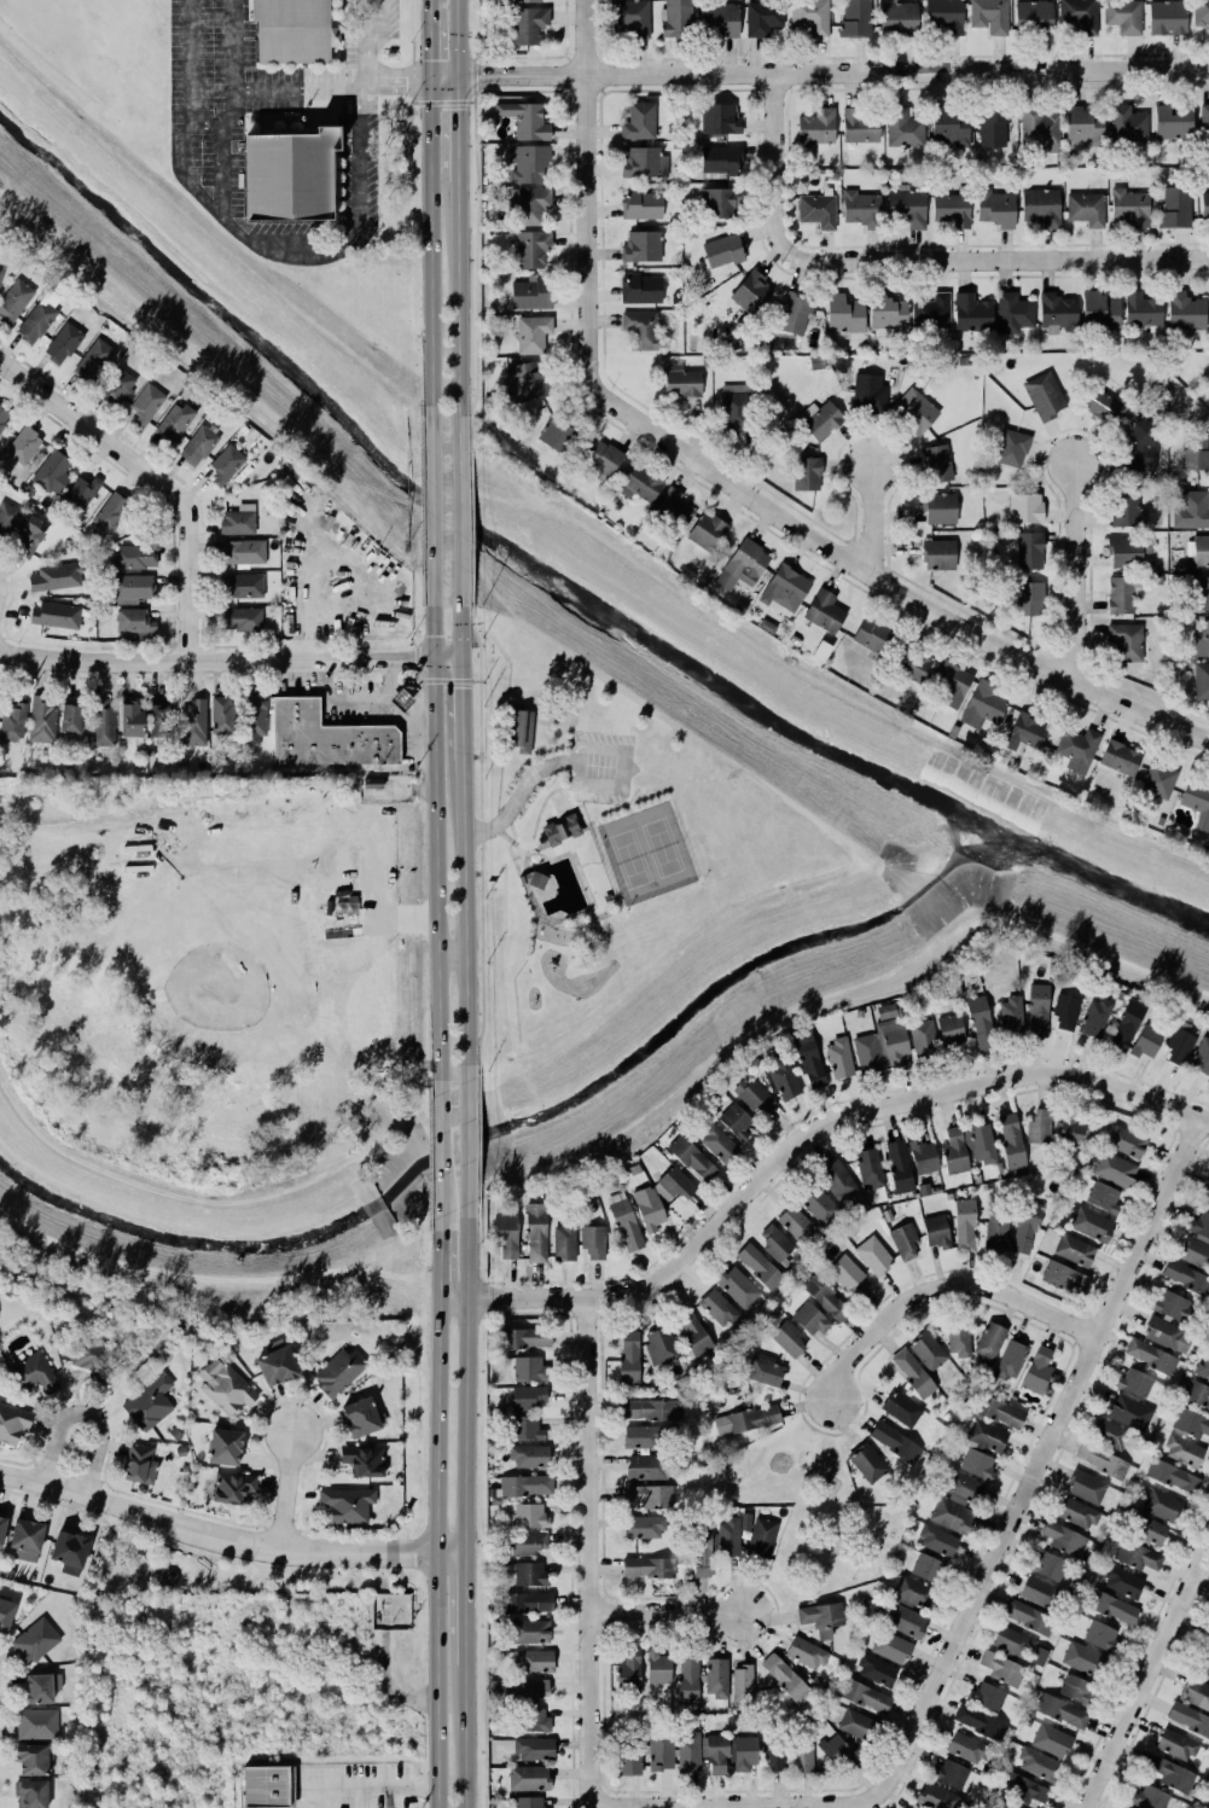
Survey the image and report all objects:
road: (429, 1)
building: (527, 1)
building: (1201, 13)
building: (944, 16)
building: (989, 16)
building: (1079, 16)
building: (1123, 16)
building: (633, 17)
building: (810, 17)
building: (1033, 17)
building: (676, 18)
building: (763, 18)
building: (856, 18)
building: (899, 18)
building: (1167, 18)
building: (721, 19)
building: (527, 24)
building: (286, 30)
road: (429, 39)
road: (455, 39)
road: (368, 40)
road: (233, 45)
road: (818, 71)
road: (185, 117)
building: (720, 118)
building: (1204, 118)
building: (525, 121)
building: (639, 121)
road: (205, 122)
building: (1173, 122)
building: (1128, 123)
building: (816, 127)
building: (859, 127)
building: (949, 127)
building: (993, 127)
building: (903, 128)
building: (1083, 128)
road: (454, 129)
building: (1040, 129)
building: (720, 162)
building: (528, 163)
building: (644, 163)
building: (286, 178)
road: (585, 194)
building: (720, 203)
building: (530, 205)
building: (641, 205)
building: (1204, 205)
building: (908, 207)
building: (1041, 208)
building: (1129, 208)
building: (1175, 208)
building: (861, 209)
building: (951, 209)
building: (995, 209)
building: (1086, 209)
road: (225, 210)
building: (818, 211)
building: (643, 246)
building: (530, 249)
road: (430, 250)
building: (723, 251)
road: (911, 257)
building: (0, 273)
building: (641, 289)
building: (751, 292)
building: (531, 293)
building: (14, 301)
road: (455, 310)
building: (1143, 310)
building: (932, 312)
building: (1099, 312)
building: (1185, 312)
building: (795, 313)
building: (887, 313)
building: (972, 313)
building: (1013, 313)
building: (1057, 314)
building: (844, 315)
building: (39, 318)
building: (641, 331)
building: (533, 333)
road: (477, 342)
building: (63, 344)
building: (94, 361)
building: (524, 382)
building: (681, 382)
building: (117, 388)
building: (870, 393)
building: (1044, 396)
building: (146, 403)
building: (1100, 405)
building: (736, 406)
building: (917, 411)
building: (820, 419)
building: (2, 420)
building: (174, 423)
building: (559, 435)
building: (23, 443)
building: (198, 446)
building: (1140, 447)
building: (1012, 448)
building: (1195, 453)
building: (601, 458)
building: (227, 464)
building: (937, 464)
building: (52, 472)
building: (807, 473)
road: (157, 475)
building: (639, 483)
road: (471, 489)
building: (81, 493)
road: (434, 504)
building: (673, 508)
building: (940, 508)
building: (1025, 508)
building: (1127, 510)
building: (1192, 511)
building: (109, 516)
road: (867, 517)
road: (459, 518)
building: (7, 519)
building: (238, 522)
building: (707, 531)
building: (29, 536)
building: (1029, 551)
building: (1201, 551)
building: (243, 552)
building: (1127, 552)
building: (938, 554)
building: (135, 557)
road: (354, 562)
building: (743, 565)
road: (1075, 571)
building: (57, 576)
river: (569, 583)
road: (889, 585)
building: (243, 586)
building: (132, 587)
building: (785, 588)
road: (471, 592)
building: (1122, 594)
building: (1029, 599)
building: (824, 611)
building: (56, 615)
building: (242, 620)
building: (134, 621)
road: (460, 627)
road: (477, 633)
road: (472, 634)
building: (872, 635)
building: (1202, 640)
building: (1126, 641)
road: (413, 643)
road: (476, 646)
building: (821, 651)
road: (229, 657)
traffic signals: (435, 657)
traffic signals: (460, 657)
road: (417, 659)
road: (481, 663)
road: (581, 663)
building: (913, 663)
road: (417, 676)
road: (385, 679)
road: (419, 680)
road: (447, 680)
road: (476, 681)
building: (952, 681)
building: (1202, 681)
gas station: (396, 698)
building: (988, 699)
road: (364, 702)
road: (461, 708)
building: (222, 715)
building: (71, 720)
building: (132, 720)
building: (255, 720)
building: (13, 721)
building: (42, 721)
building: (159, 721)
building: (103, 722)
building: (193, 722)
building: (517, 729)
building: (1025, 733)
building: (324, 737)
road: (601, 748)
building: (1077, 749)
road: (481, 750)
road: (576, 755)
road: (527, 758)
building: (1120, 758)
parking lot: (599, 766)
road: (623, 767)
road: (575, 772)
road: (534, 774)
building: (1158, 780)
road: (597, 784)
road: (542, 790)
road: (552, 790)
road: (518, 796)
road: (568, 796)
building: (1197, 802)
road: (577, 803)
road: (583, 803)
road: (551, 808)
road: (534, 822)
building: (560, 827)
road: (560, 827)
road: (592, 830)
road: (482, 831)
road: (492, 836)
road: (436, 838)
road: (512, 841)
park: (606, 848)
road: (571, 850)
park: (645, 850)
road: (481, 855)
road: (524, 858)
road: (600, 859)
road: (587, 861)
building: (535, 878)
road: (585, 885)
road: (461, 922)
road: (482, 957)
building: (885, 1011)
building: (1037, 1011)
building: (1065, 1012)
building: (1011, 1017)
building: (1094, 1018)
building: (981, 1023)
building: (1127, 1024)
building: (951, 1030)
building: (924, 1037)
building: (893, 1041)
building: (1146, 1041)
building: (1180, 1043)
building: (867, 1053)
road: (478, 1057)
building: (808, 1058)
building: (839, 1058)
building: (1202, 1058)
building: (781, 1080)
building: (752, 1095)
building: (736, 1121)
road: (477, 1126)
building: (1039, 1127)
building: (1069, 1130)
road: (803, 1141)
building: (1127, 1143)
road: (463, 1144)
building: (719, 1144)
building: (981, 1144)
building: (1011, 1145)
building: (954, 1152)
road: (437, 1156)
building: (923, 1157)
building: (692, 1158)
building: (899, 1167)
building: (870, 1168)
building: (1115, 1169)
building: (838, 1180)
building: (674, 1185)
building: (1205, 1188)
building: (1103, 1196)
building: (819, 1205)
building: (649, 1209)
road: (437, 1221)
building: (385, 1225)
building: (626, 1225)
building: (797, 1225)
building: (1092, 1225)
building: (965, 1226)
building: (535, 1231)
building: (1025, 1231)
building: (936, 1232)
building: (996, 1232)
building: (506, 1234)
building: (564, 1242)
building: (593, 1242)
building: (774, 1242)
building: (905, 1242)
building: (1198, 1242)
building: (1075, 1250)
building: (873, 1256)
road: (437, 1262)
building: (760, 1267)
building: (849, 1277)
building: (1186, 1277)
building: (1064, 1278)
building: (738, 1287)
road: (940, 1287)
building: (826, 1298)
building: (1175, 1307)
building: (717, 1308)
building: (809, 1319)
building: (693, 1336)
building: (1168, 1336)
building: (527, 1338)
building: (959, 1338)
building: (787, 1339)
building: (990, 1342)
building: (661, 1347)
building: (928, 1350)
building: (93, 1354)
building: (1151, 1356)
building: (629, 1358)
building: (1011, 1360)
building: (275, 1364)
building: (530, 1370)
building: (763, 1370)
building: (28, 1371)
building: (337, 1371)
building: (1037, 1371)
building: (912, 1373)
road: (464, 1378)
building: (1134, 1383)
building: (225, 1386)
building: (1198, 1386)
building: (529, 1397)
building: (150, 1402)
building: (902, 1408)
building: (651, 1409)
building: (1000, 1411)
road: (80, 1412)
building: (1129, 1412)
building: (360, 1418)
building: (746, 1420)
building: (11, 1423)
building: (1191, 1423)
building: (527, 1429)
building: (1110, 1435)
building: (644, 1437)
building: (987, 1437)
building: (894, 1442)
building: (225, 1447)
building: (1181, 1449)
building: (529, 1457)
building: (364, 1460)
building: (1102, 1461)
building: (867, 1463)
road: (1044, 1463)
building: (139, 1464)
building: (977, 1465)
building: (646, 1467)
building: (1173, 1477)
building: (525, 1486)
building: (232, 1487)
building: (1086, 1487)
road: (284, 1495)
building: (649, 1496)
building: (955, 1502)
building: (347, 1505)
road: (71, 1506)
building: (1162, 1506)
park: (802, 1511)
building: (1077, 1513)
building: (530, 1516)
building: (1, 1522)
building: (645, 1527)
building: (1151, 1531)
building: (731, 1535)
building: (23, 1537)
building: (761, 1537)
building: (1063, 1539)
building: (937, 1541)
road: (118, 1542)
road: (226, 1544)
building: (529, 1544)
building: (68, 1550)
road: (594, 1551)
building: (702, 1552)
road: (431, 1553)
building: (1138, 1557)
building: (1050, 1566)
building: (647, 1568)
building: (928, 1568)
park: (205, 1569)
building: (530, 1574)
building: (167, 1576)
building: (1122, 1583)
building: (913, 1593)
building: (1040, 1593)
building: (525, 1603)
road: (461, 1606)
road: (684, 1606)
building: (1111, 1608)
building: (4, 1611)
building: (1029, 1617)
building: (821, 1618)
building: (906, 1621)
building: (530, 1632)
building: (1100, 1636)
building: (33, 1639)
building: (1012, 1643)
building: (891, 1647)
building: (806, 1653)
building: (1083, 1659)
building: (533, 1662)
building: (1204, 1665)
building: (658, 1668)
building: (1002, 1669)
building: (877, 1670)
building: (628, 1672)
road: (1146, 1676)
building: (687, 1678)
building: (716, 1678)
building: (785, 1679)
building: (742, 1685)
building: (39, 1686)
building: (527, 1690)
building: (1076, 1691)
building: (1197, 1693)
building: (865, 1697)
building: (987, 1697)
building: (1062, 1711)
building: (534, 1720)
building: (1187, 1720)
building: (980, 1722)
building: (36, 1723)
building: (856, 1725)
road: (461, 1734)
building: (1051, 1740)
building: (1176, 1745)
building: (966, 1748)
building: (534, 1749)
building: (661, 1750)
building: (835, 1750)
building: (688, 1751)
building: (744, 1752)
building: (716, 1755)
building: (775, 1755)
building: (802, 1756)
building: (31, 1760)
building: (632, 1760)
building: (1037, 1763)
building: (951, 1773)
building: (1172, 1774)
building: (529, 1778)
building: (267, 1787)
road: (367, 1787)
building: (1023, 1789)
building: (29, 1792)
building: (936, 1797)
road: (358, 1798)
building: (1150, 1798)
building: (530, 1802)
road: (736, 1802)
building: (1006, 1804)
building: (912, 1807)
building: (1123, 1807)

